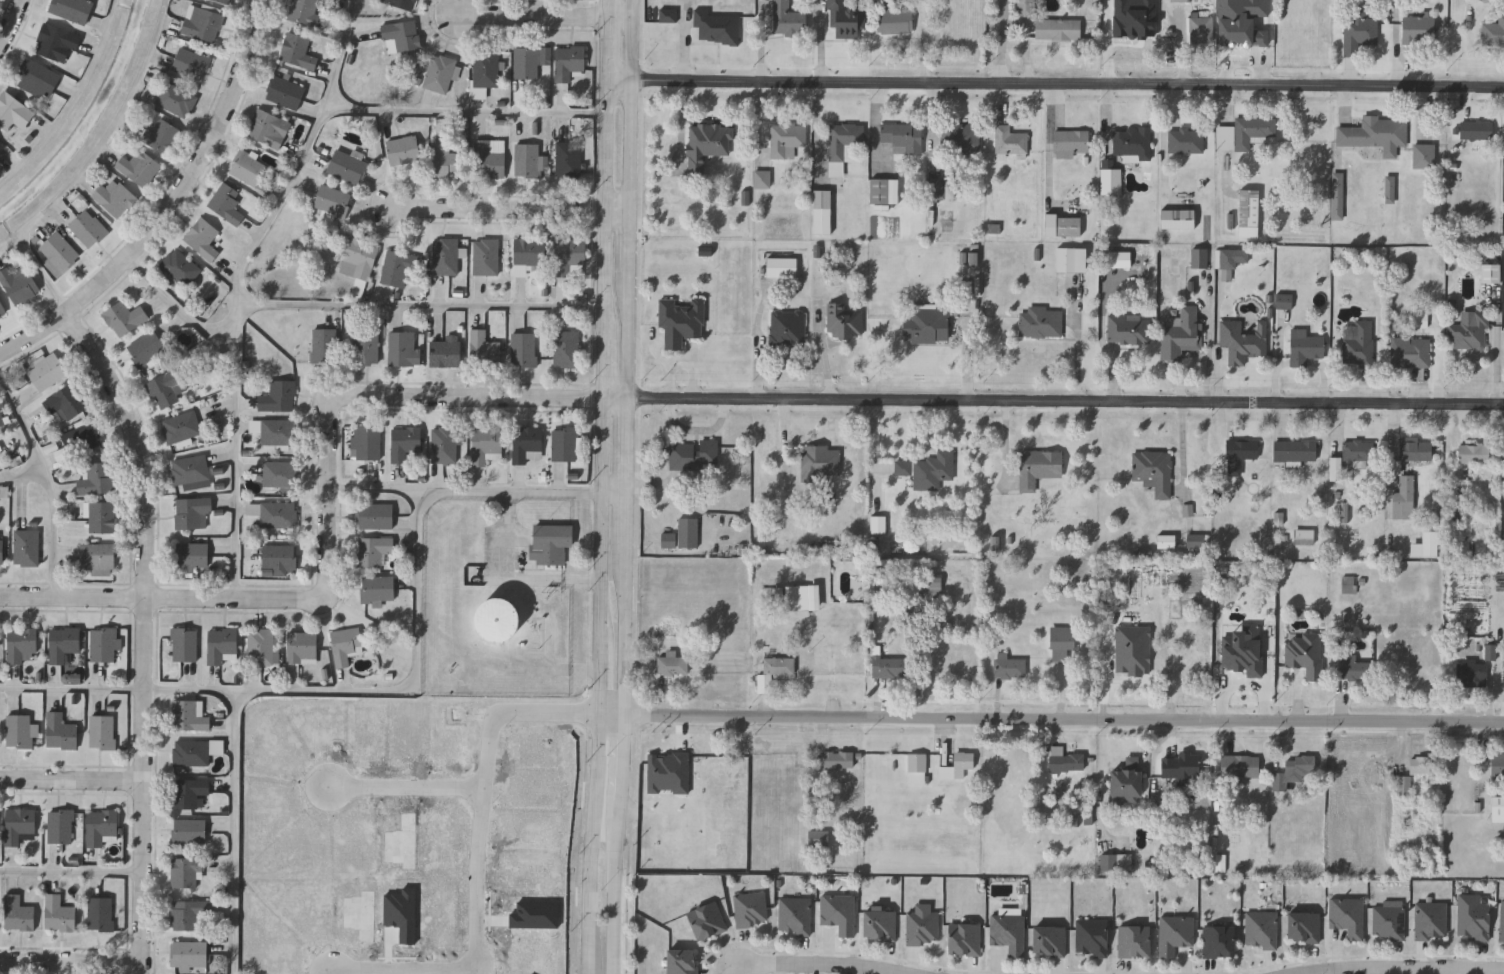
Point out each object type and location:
building: (223, 1)
building: (1180, 1)
building: (400, 3)
building: (1027, 8)
building: (73, 10)
building: (303, 11)
building: (669, 16)
road: (545, 17)
building: (1136, 18)
building: (787, 20)
building: (844, 20)
building: (893, 20)
building: (1243, 22)
building: (202, 23)
road: (12, 24)
building: (715, 27)
building: (1056, 28)
building: (1360, 28)
building: (1200, 30)
building: (1418, 30)
building: (1493, 32)
building: (401, 35)
building: (57, 42)
building: (296, 50)
building: (526, 60)
building: (567, 61)
building: (190, 62)
building: (483, 70)
building: (439, 72)
building: (38, 80)
road: (1055, 82)
building: (284, 91)
building: (175, 99)
road: (71, 100)
building: (13, 111)
road: (465, 113)
building: (268, 128)
building: (1476, 130)
building: (1245, 133)
building: (162, 134)
building: (1375, 134)
building: (788, 135)
building: (902, 137)
building: (960, 137)
building: (843, 140)
building: (1009, 140)
building: (1068, 141)
building: (1185, 141)
building: (1131, 142)
building: (1, 145)
building: (706, 145)
building: (403, 149)
building: (1424, 156)
building: (448, 157)
building: (489, 157)
building: (567, 158)
building: (528, 159)
road: (83, 162)
road: (605, 164)
building: (137, 166)
building: (347, 166)
building: (249, 169)
road: (296, 177)
building: (763, 180)
building: (1111, 181)
building: (1391, 187)
building: (936, 188)
building: (951, 189)
building: (883, 190)
building: (1338, 196)
building: (114, 197)
road: (633, 198)
building: (333, 199)
building: (226, 202)
road: (171, 206)
road: (513, 208)
building: (821, 212)
building: (1248, 212)
building: (1176, 218)
building: (1062, 226)
building: (86, 227)
building: (202, 237)
road: (10, 247)
building: (58, 251)
building: (527, 252)
building: (569, 252)
building: (445, 255)
building: (484, 255)
building: (359, 258)
building: (1199, 258)
building: (1232, 258)
building: (974, 259)
building: (1070, 259)
building: (1120, 260)
building: (179, 266)
building: (780, 267)
building: (396, 268)
building: (1491, 274)
building: (18, 283)
building: (1285, 302)
building: (2, 308)
road: (421, 308)
building: (124, 318)
building: (680, 320)
building: (844, 321)
building: (1040, 322)
building: (1421, 322)
building: (492, 323)
building: (926, 325)
building: (787, 328)
building: (1127, 330)
building: (1468, 332)
building: (1180, 333)
building: (1242, 341)
building: (365, 344)
building: (322, 345)
building: (1358, 346)
building: (1304, 347)
building: (145, 348)
building: (402, 348)
building: (483, 348)
building: (565, 348)
building: (522, 349)
road: (824, 351)
building: (445, 352)
building: (1409, 353)
road: (1080, 358)
road: (604, 363)
road: (681, 365)
building: (46, 369)
building: (163, 388)
building: (278, 395)
road: (1067, 401)
building: (65, 402)
road: (240, 403)
building: (180, 425)
building: (274, 429)
road: (698, 430)
building: (81, 437)
building: (365, 441)
building: (404, 441)
building: (484, 443)
building: (527, 443)
building: (564, 443)
building: (444, 444)
building: (1412, 448)
building: (1294, 451)
building: (693, 452)
building: (1359, 452)
building: (1473, 453)
building: (820, 454)
building: (1238, 455)
building: (1038, 467)
building: (904, 468)
building: (189, 469)
road: (631, 470)
building: (935, 471)
building: (1154, 471)
building: (1334, 471)
building: (279, 473)
road: (23, 475)
building: (94, 477)
road: (49, 481)
road: (380, 488)
road: (617, 494)
building: (1403, 497)
road: (329, 510)
building: (191, 511)
building: (1188, 511)
building: (277, 514)
building: (1456, 514)
building: (374, 515)
building: (101, 516)
building: (879, 525)
building: (682, 534)
building: (1303, 536)
building: (1196, 541)
building: (550, 542)
building: (1167, 542)
building: (997, 543)
building: (1424, 545)
building: (25, 547)
building: (1, 548)
building: (372, 550)
building: (1146, 553)
building: (191, 555)
building: (97, 557)
building: (279, 558)
road: (515, 575)
building: (933, 585)
building: (1348, 585)
building: (377, 588)
building: (773, 597)
building: (801, 598)
building: (497, 618)
road: (142, 633)
building: (63, 642)
building: (1061, 642)
building: (21, 644)
building: (103, 644)
building: (183, 644)
building: (345, 644)
building: (222, 645)
building: (262, 646)
building: (301, 647)
building: (1489, 651)
building: (1305, 653)
building: (672, 663)
building: (1009, 666)
building: (890, 667)
building: (1243, 668)
building: (1353, 668)
building: (1130, 669)
building: (773, 670)
building: (1471, 671)
road: (600, 685)
road: (71, 689)
road: (190, 691)
road: (367, 692)
building: (188, 714)
road: (1051, 718)
building: (18, 729)
building: (60, 730)
building: (101, 730)
building: (190, 751)
road: (623, 759)
building: (837, 759)
building: (1065, 760)
building: (957, 765)
building: (1177, 765)
building: (1239, 765)
building: (1420, 765)
building: (1497, 765)
building: (917, 768)
building: (1293, 770)
building: (669, 774)
road: (73, 781)
building: (1125, 782)
road: (410, 786)
building: (1405, 786)
building: (188, 792)
building: (1167, 801)
building: (1497, 809)
building: (20, 823)
building: (100, 824)
building: (59, 825)
building: (189, 831)
building: (817, 838)
building: (1117, 863)
building: (1221, 863)
road: (483, 866)
road: (73, 870)
building: (184, 870)
building: (751, 909)
building: (17, 912)
building: (100, 912)
building: (58, 913)
building: (839, 913)
building: (187, 914)
building: (362, 915)
building: (795, 916)
building: (1348, 917)
building: (706, 921)
building: (1389, 922)
building: (1431, 922)
building: (1474, 922)
building: (1502, 923)
building: (880, 926)
building: (923, 928)
building: (1304, 928)
building: (1262, 930)
building: (1009, 934)
building: (1175, 935)
building: (1091, 938)
building: (964, 939)
building: (1048, 942)
building: (1134, 942)
building: (1219, 942)
building: (188, 952)
building: (682, 962)
road: (72, 963)
road: (815, 965)
road: (1406, 970)

